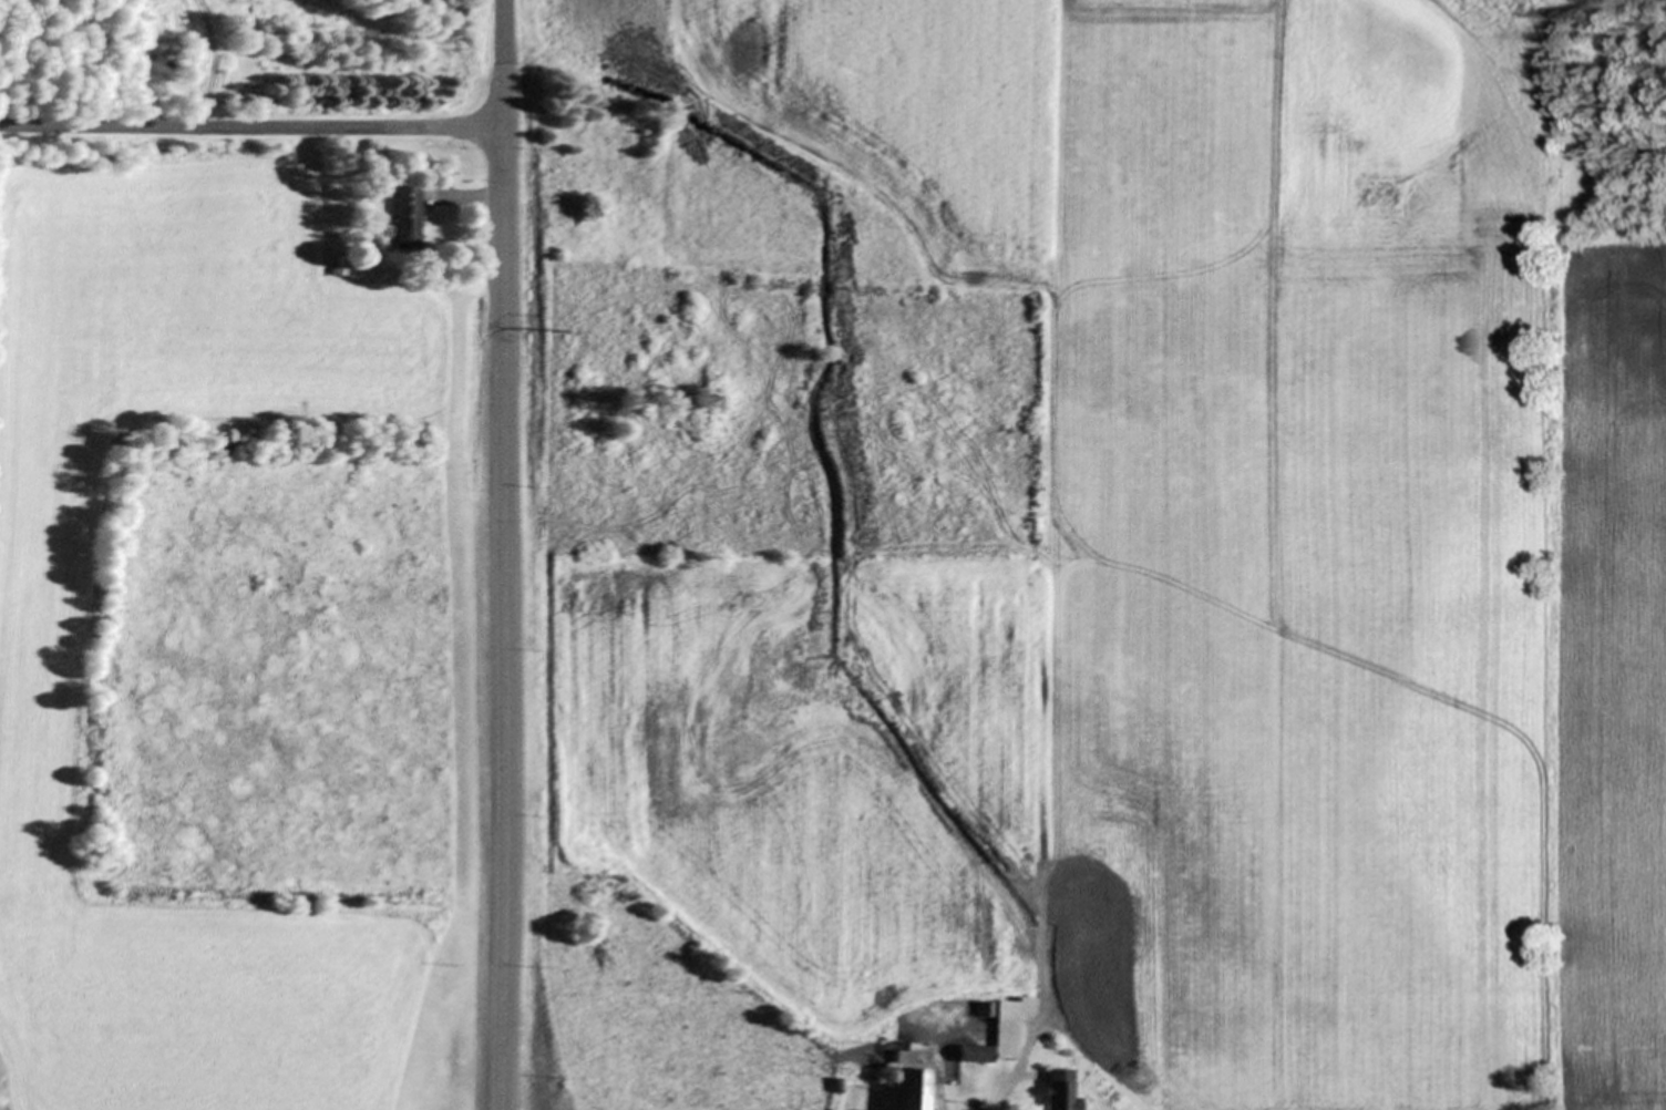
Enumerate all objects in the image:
road: (253, 125)
road: (474, 195)
building: (409, 216)
road: (505, 555)
building: (1004, 1031)
building: (916, 1089)
building: (1066, 1090)
road: (999, 1097)

